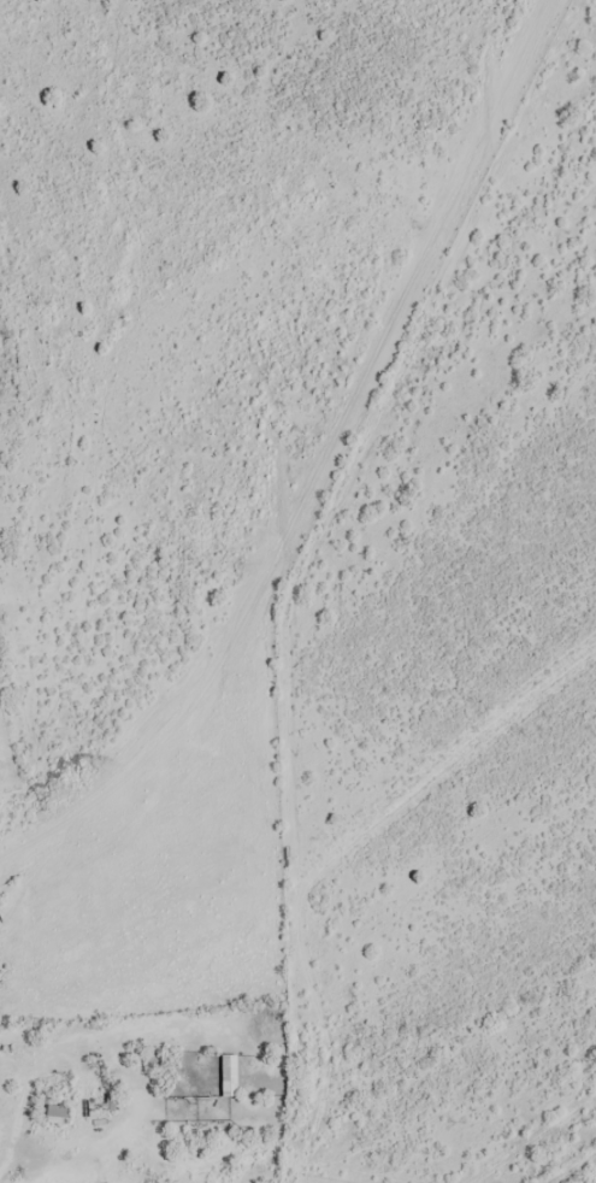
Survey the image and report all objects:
road: (275, 899)
road: (452, 1052)
road: (395, 1122)

